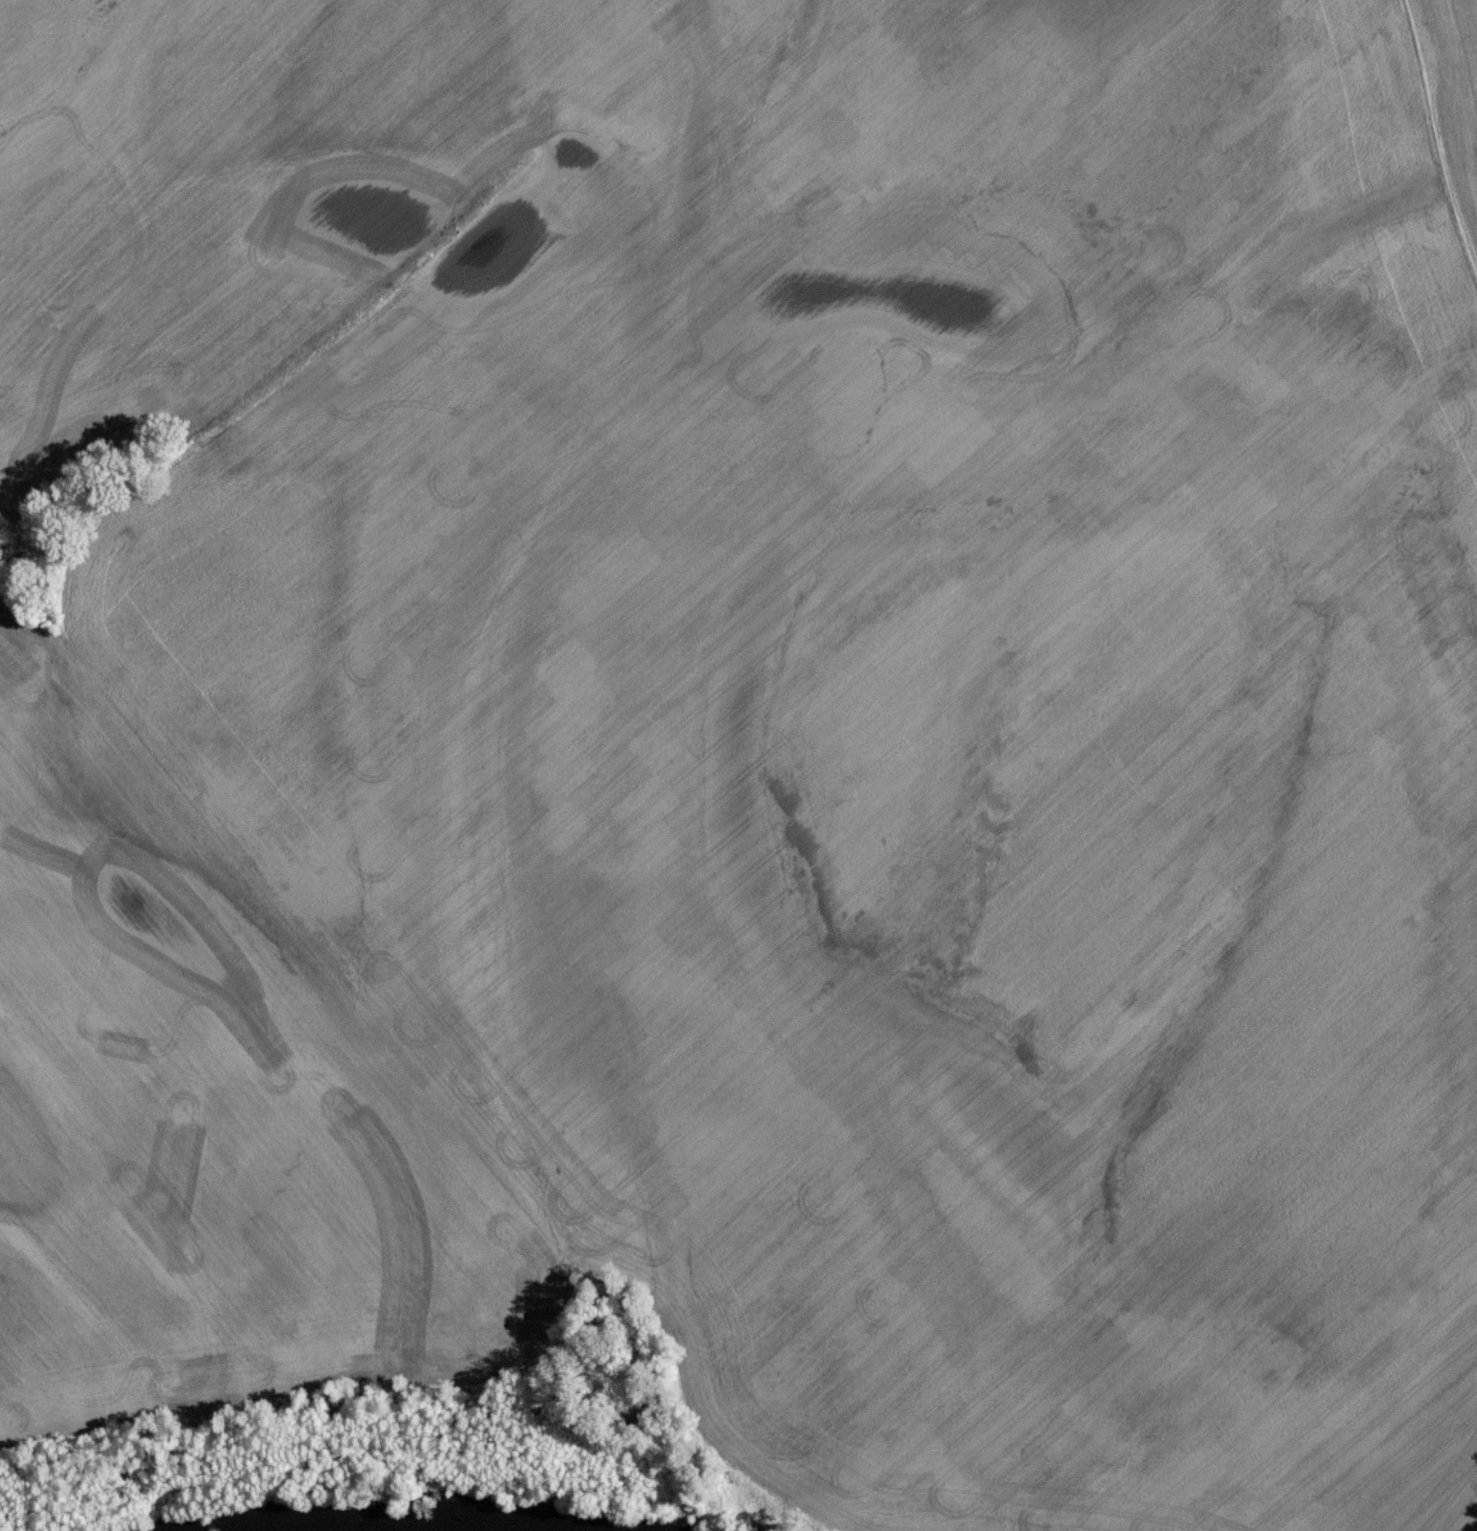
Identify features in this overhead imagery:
road: (1433, 143)

